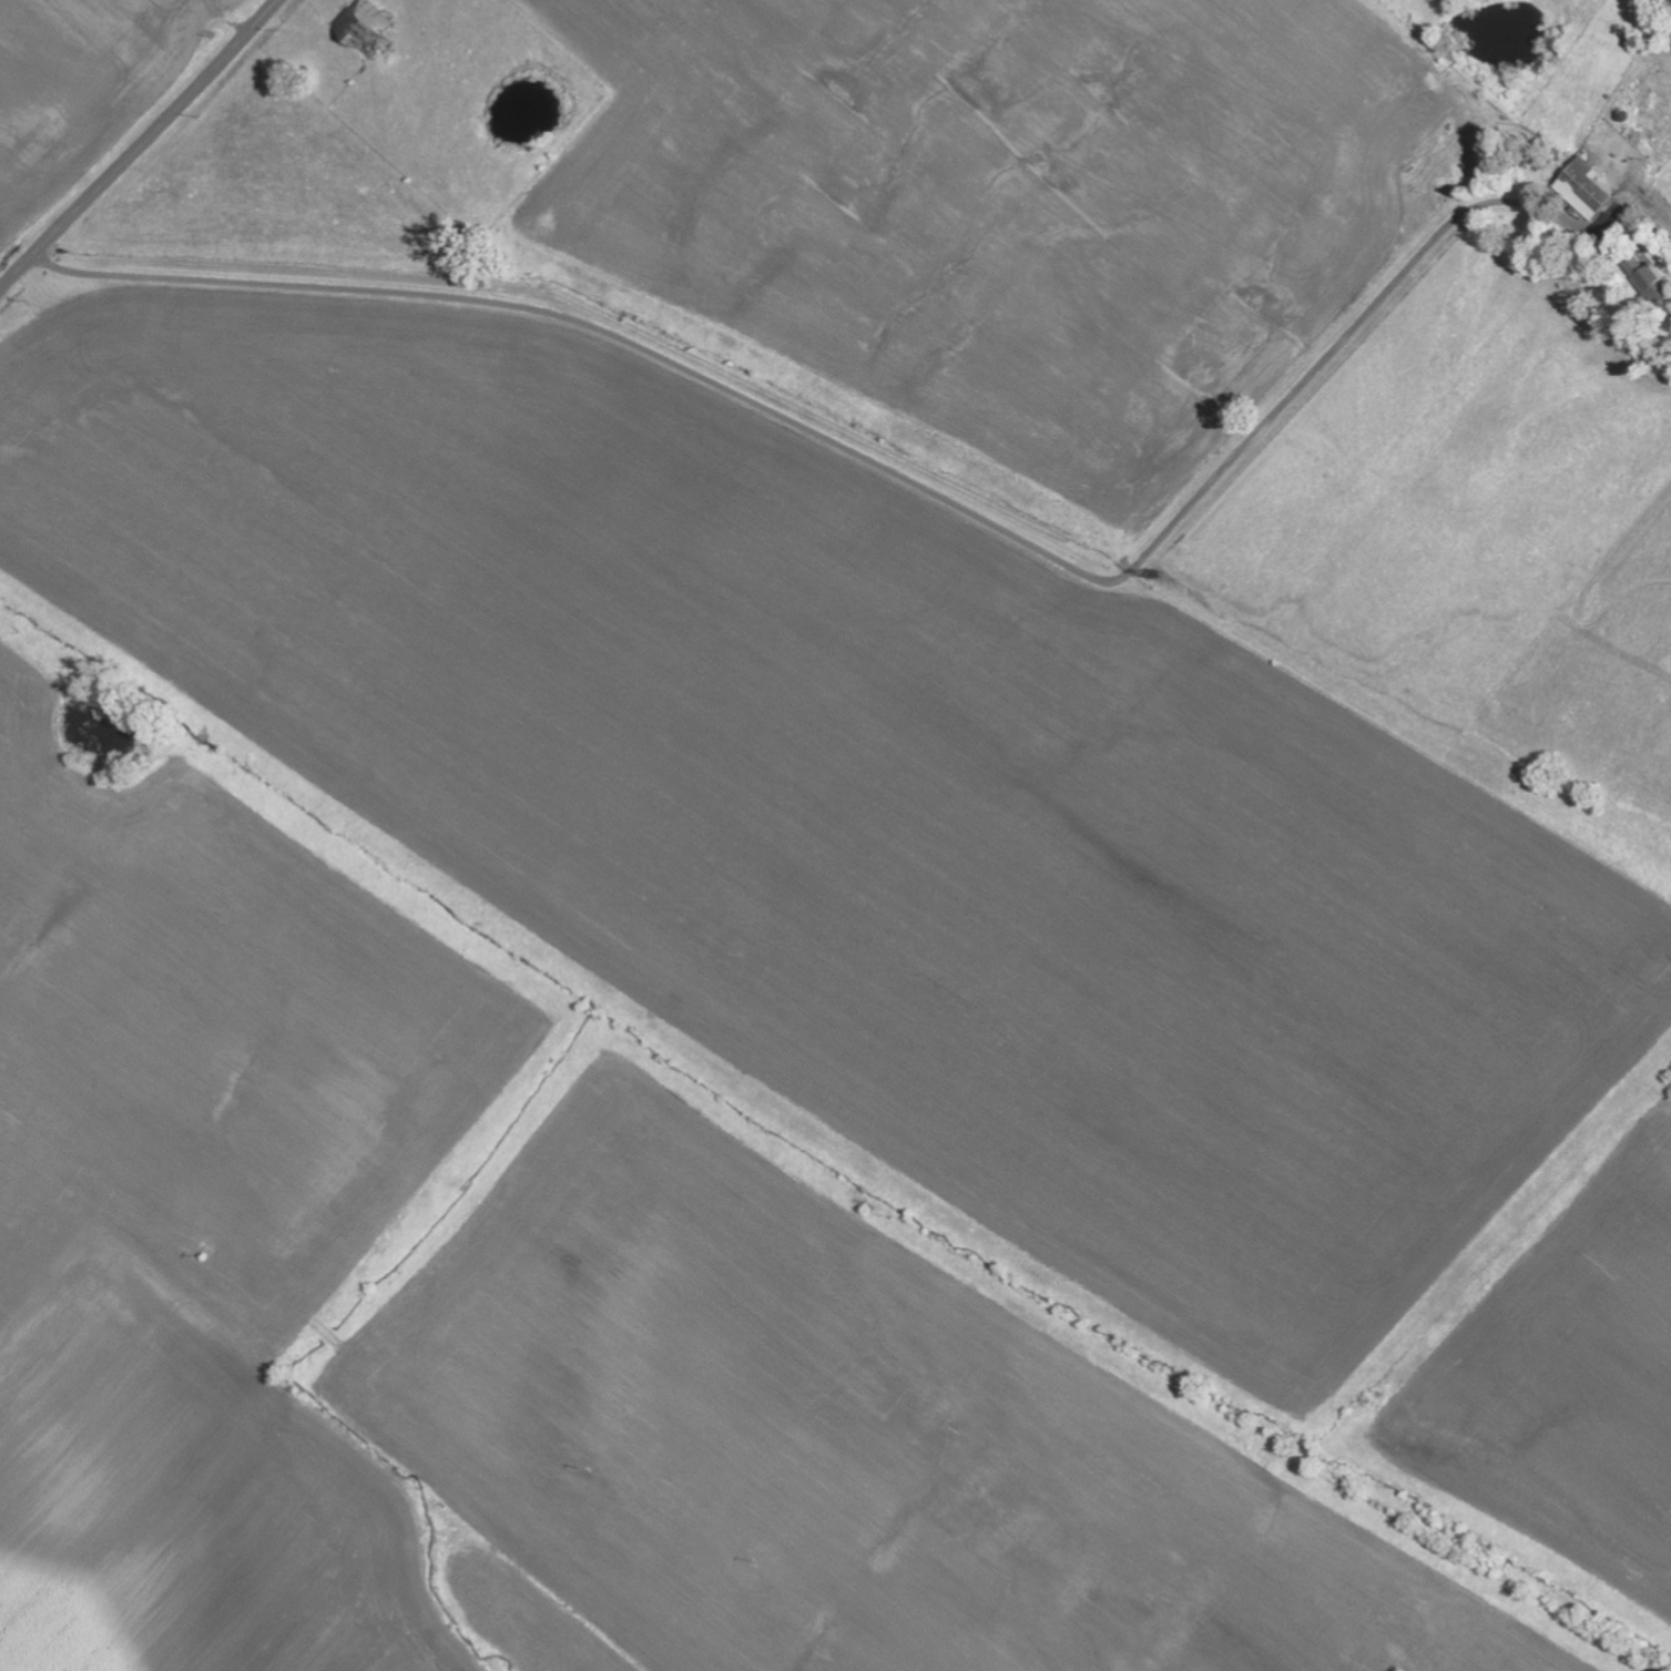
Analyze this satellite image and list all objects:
building: (368, 24)
road: (141, 146)
building: (1589, 190)

